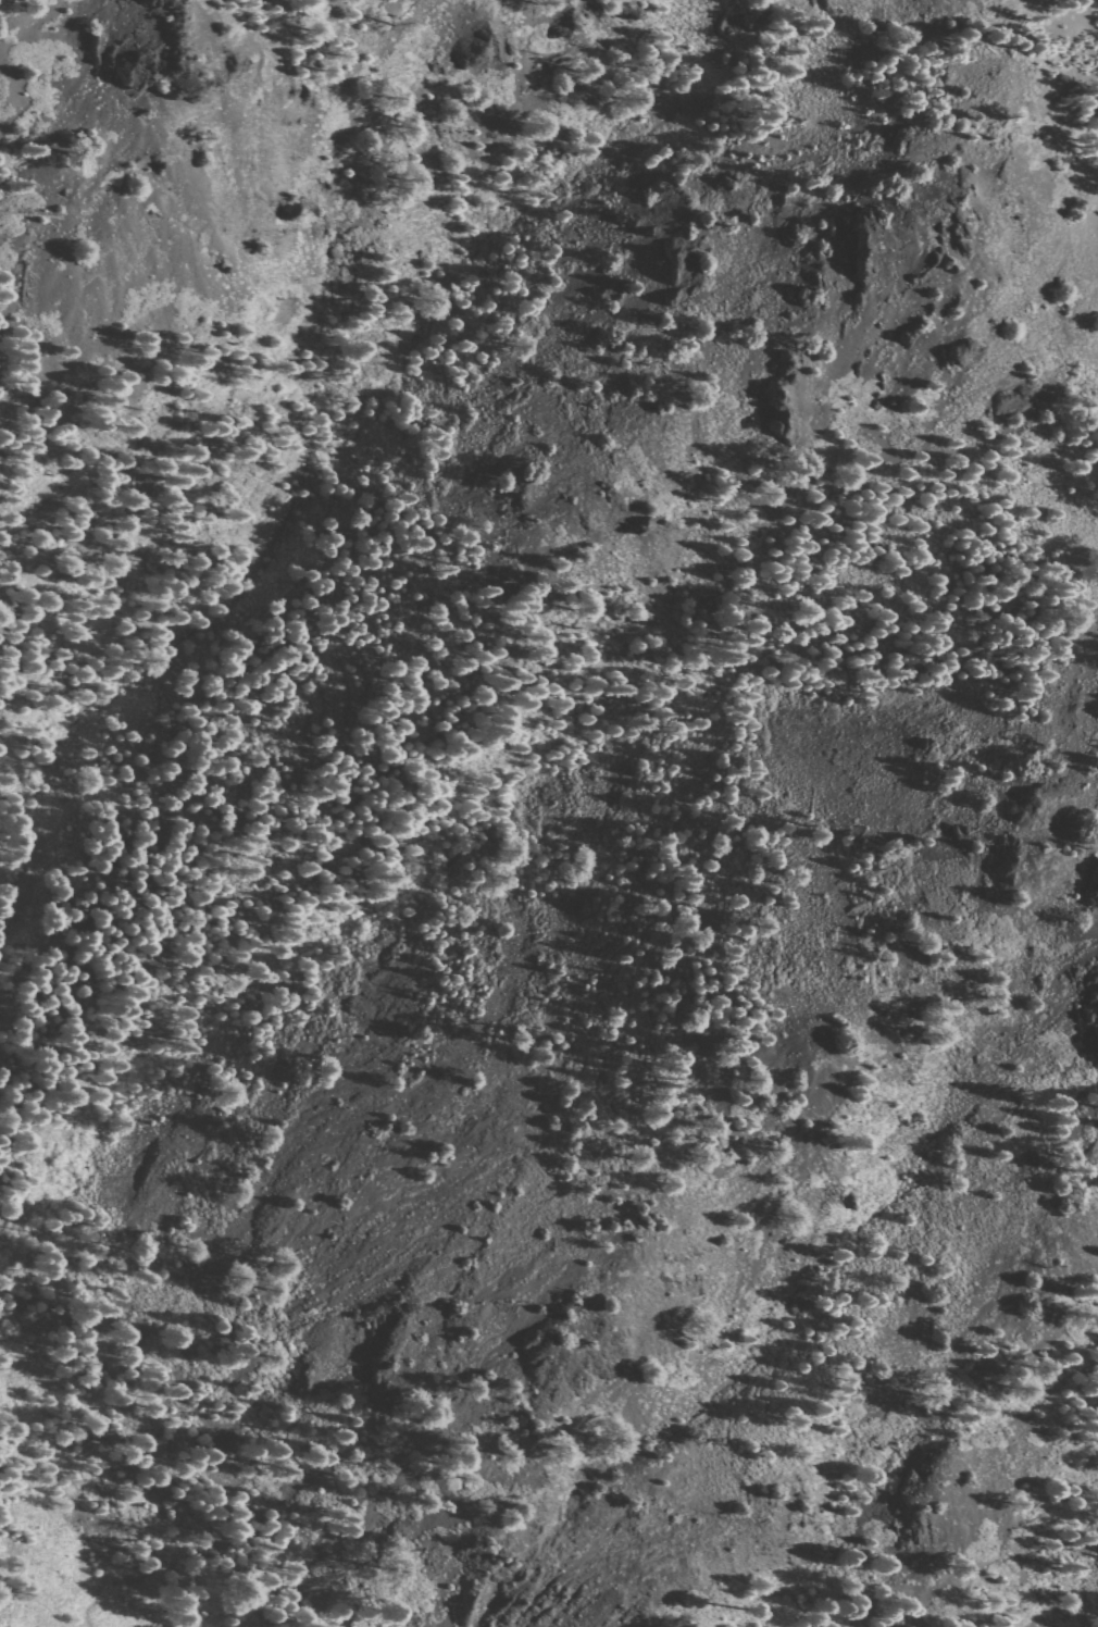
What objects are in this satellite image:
road: (26, 1598)

